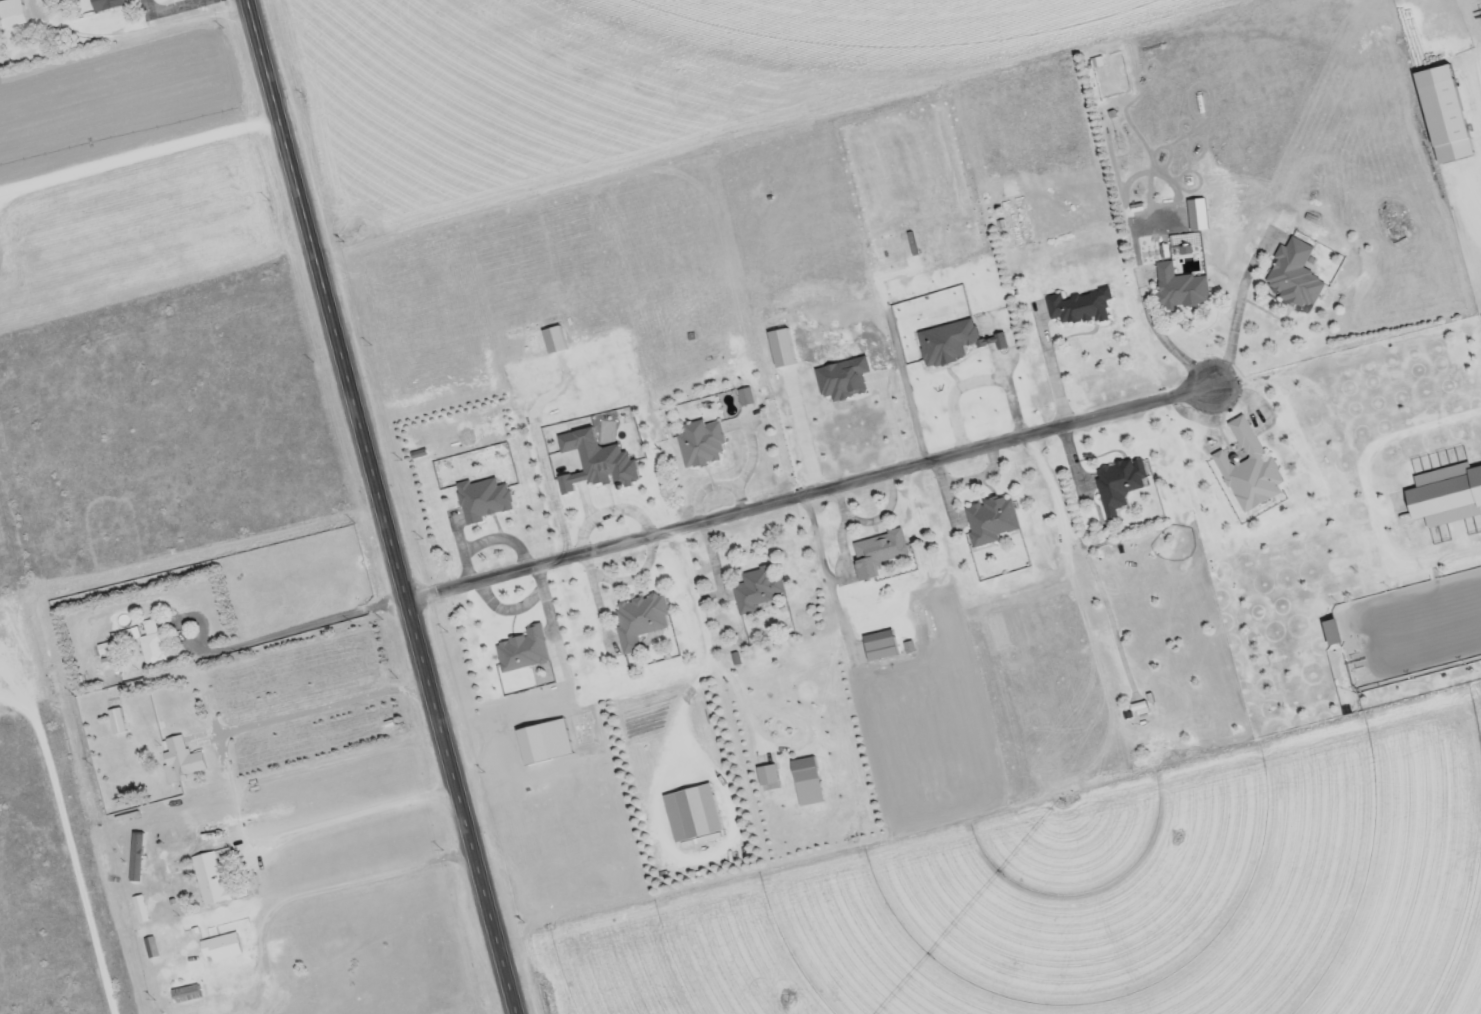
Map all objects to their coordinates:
road: (174, 2)
building: (106, 4)
building: (12, 13)
building: (1098, 62)
building: (1296, 275)
building: (1181, 288)
building: (1080, 307)
road: (1237, 311)
road: (1164, 341)
road: (1052, 371)
road: (974, 385)
road: (892, 421)
building: (703, 446)
building: (1122, 482)
road: (811, 494)
road: (1366, 494)
road: (385, 506)
building: (993, 520)
building: (879, 552)
road: (1086, 559)
building: (760, 588)
building: (641, 620)
building: (150, 645)
building: (184, 758)
building: (805, 770)
building: (768, 775)
road: (73, 854)
building: (214, 875)
building: (141, 909)
building: (222, 945)
building: (151, 947)
building: (806, 985)
building: (186, 994)
building: (807, 1010)

